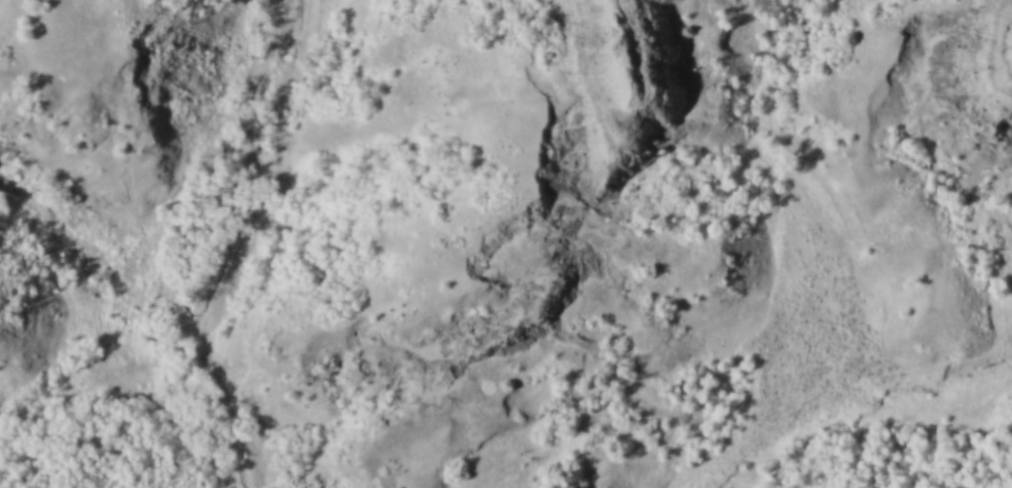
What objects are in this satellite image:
road: (168, 237)

